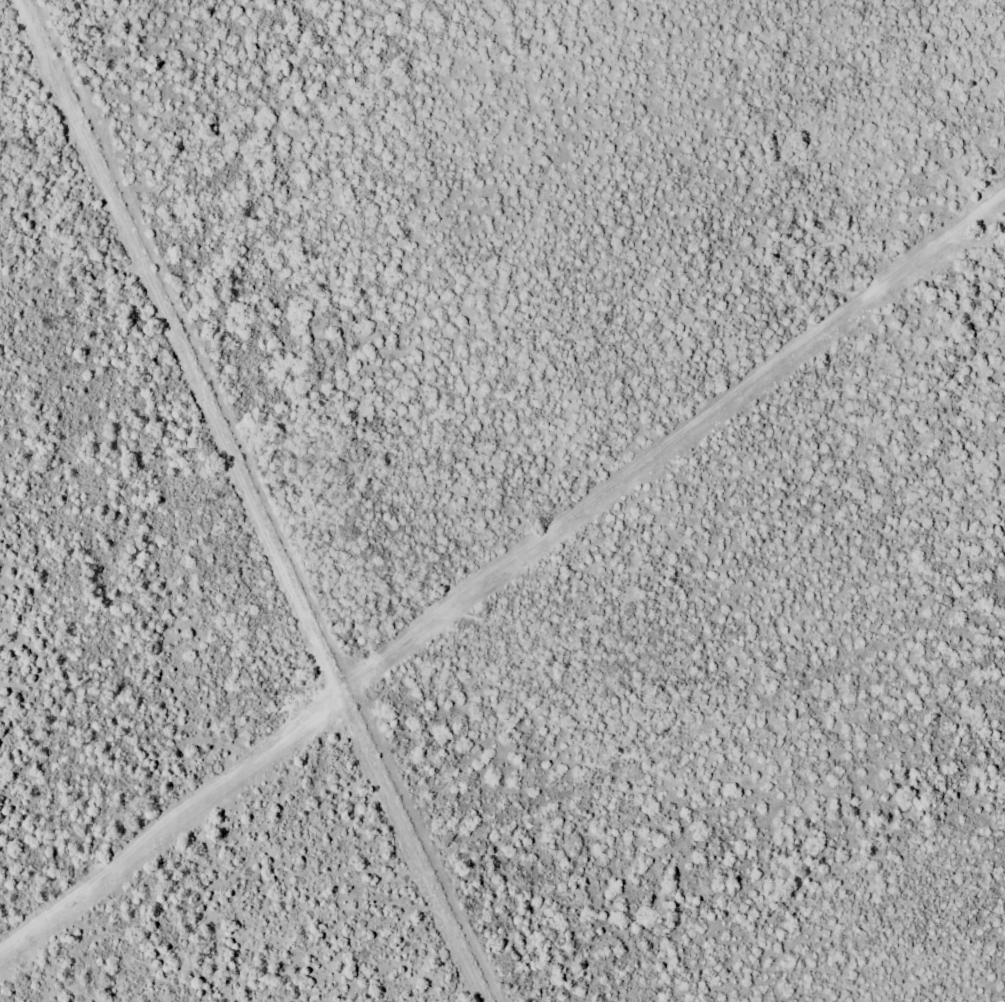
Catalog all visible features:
road: (226, 500)

